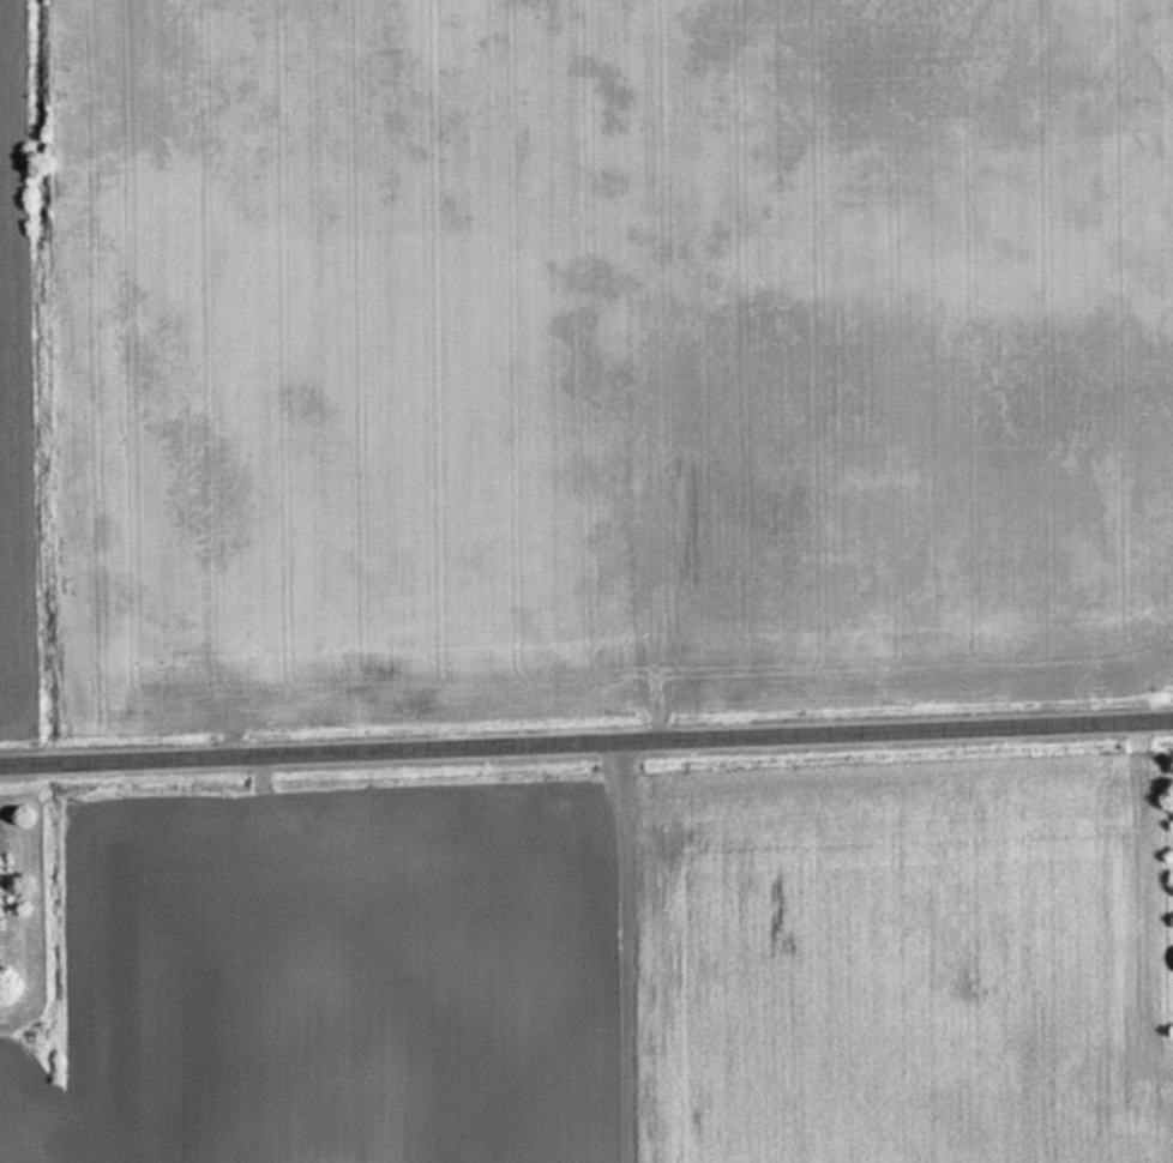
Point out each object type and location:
road: (585, 742)
road: (638, 952)
building: (5, 963)

